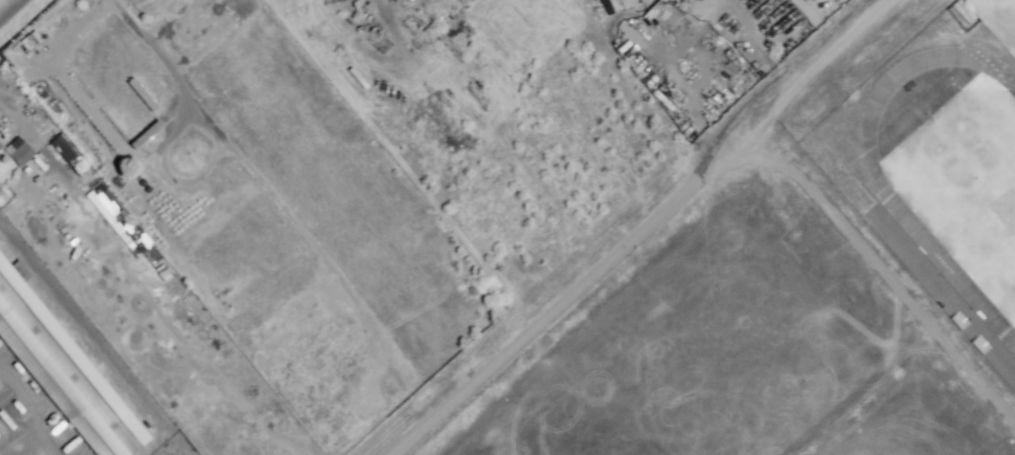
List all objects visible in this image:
building: (412, 0)
road: (9, 8)
building: (962, 11)
building: (952, 12)
building: (22, 45)
road: (812, 71)
road: (772, 78)
building: (144, 134)
building: (0, 145)
building: (64, 150)
building: (20, 154)
road: (245, 165)
road: (712, 168)
park: (970, 177)
building: (141, 182)
building: (146, 188)
building: (111, 205)
building: (135, 236)
track: (940, 259)
road: (942, 297)
road: (83, 326)
building: (63, 369)

